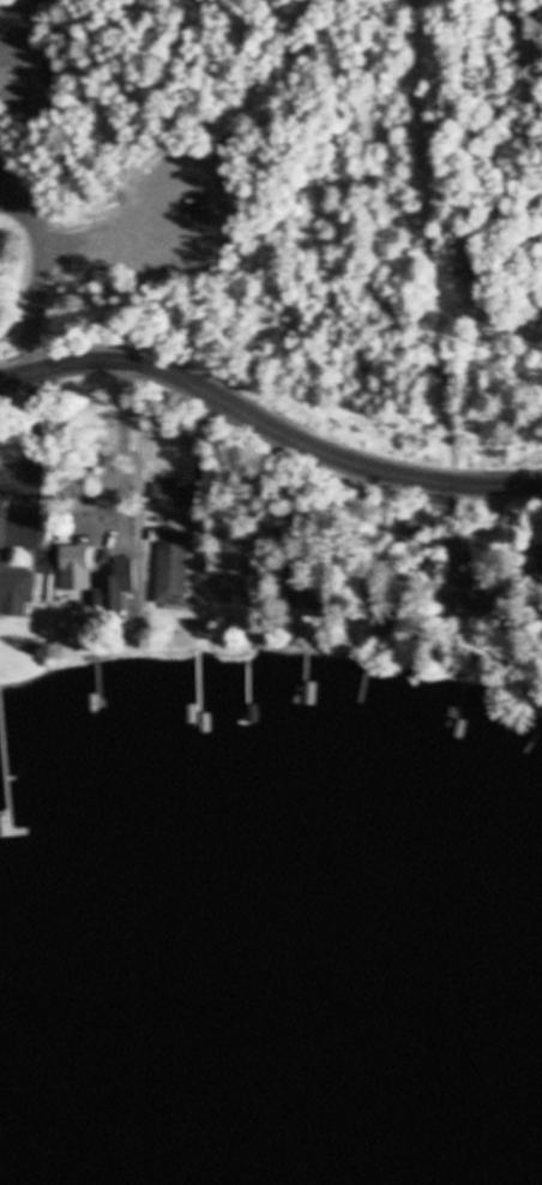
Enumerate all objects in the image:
road: (434, 243)
road: (266, 426)
building: (2, 531)
building: (79, 538)
building: (174, 546)
building: (537, 567)
building: (19, 587)
building: (474, 597)

